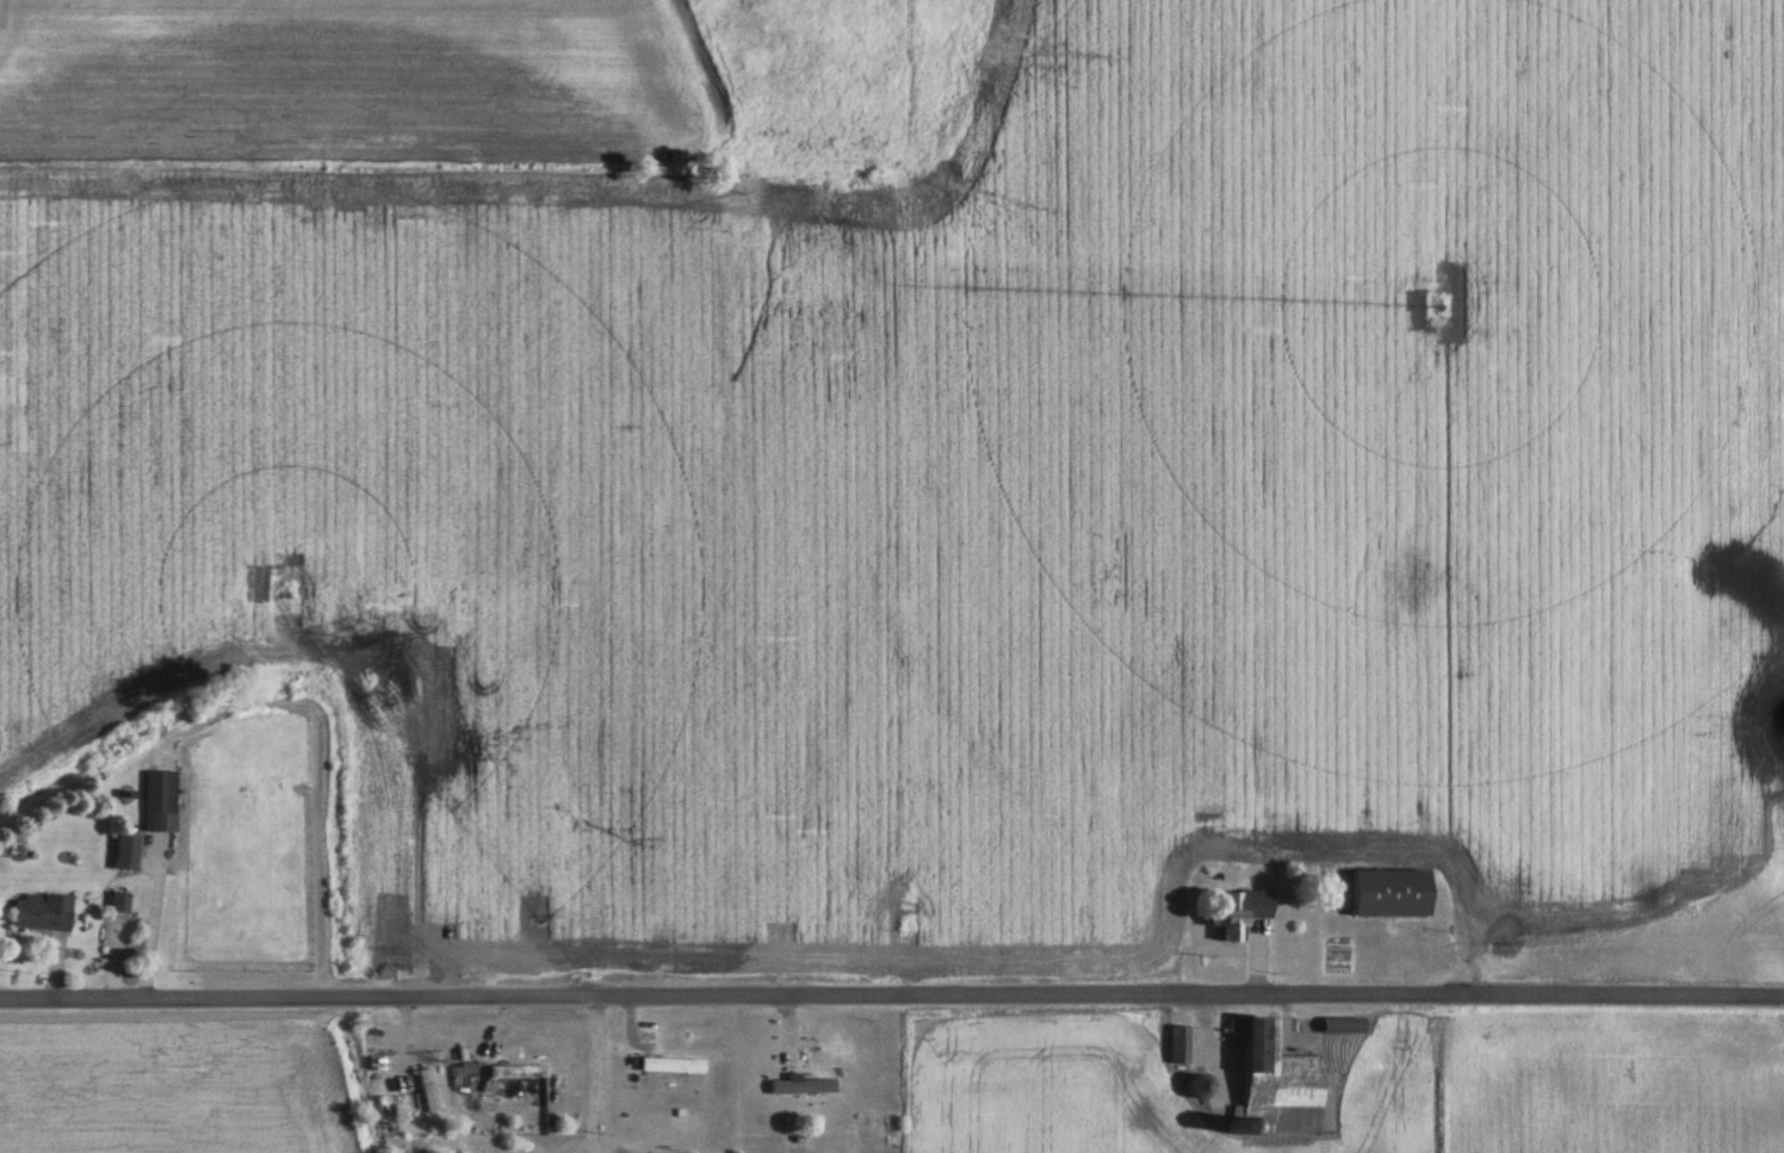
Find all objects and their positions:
building: (157, 801)
building: (122, 853)
building: (1385, 894)
building: (116, 904)
building: (1235, 915)
building: (39, 916)
road: (891, 993)
building: (1176, 1046)
building: (668, 1067)
building: (513, 1072)
road: (593, 1074)
building: (1272, 1086)
building: (1194, 1087)
building: (801, 1089)
building: (425, 1092)

